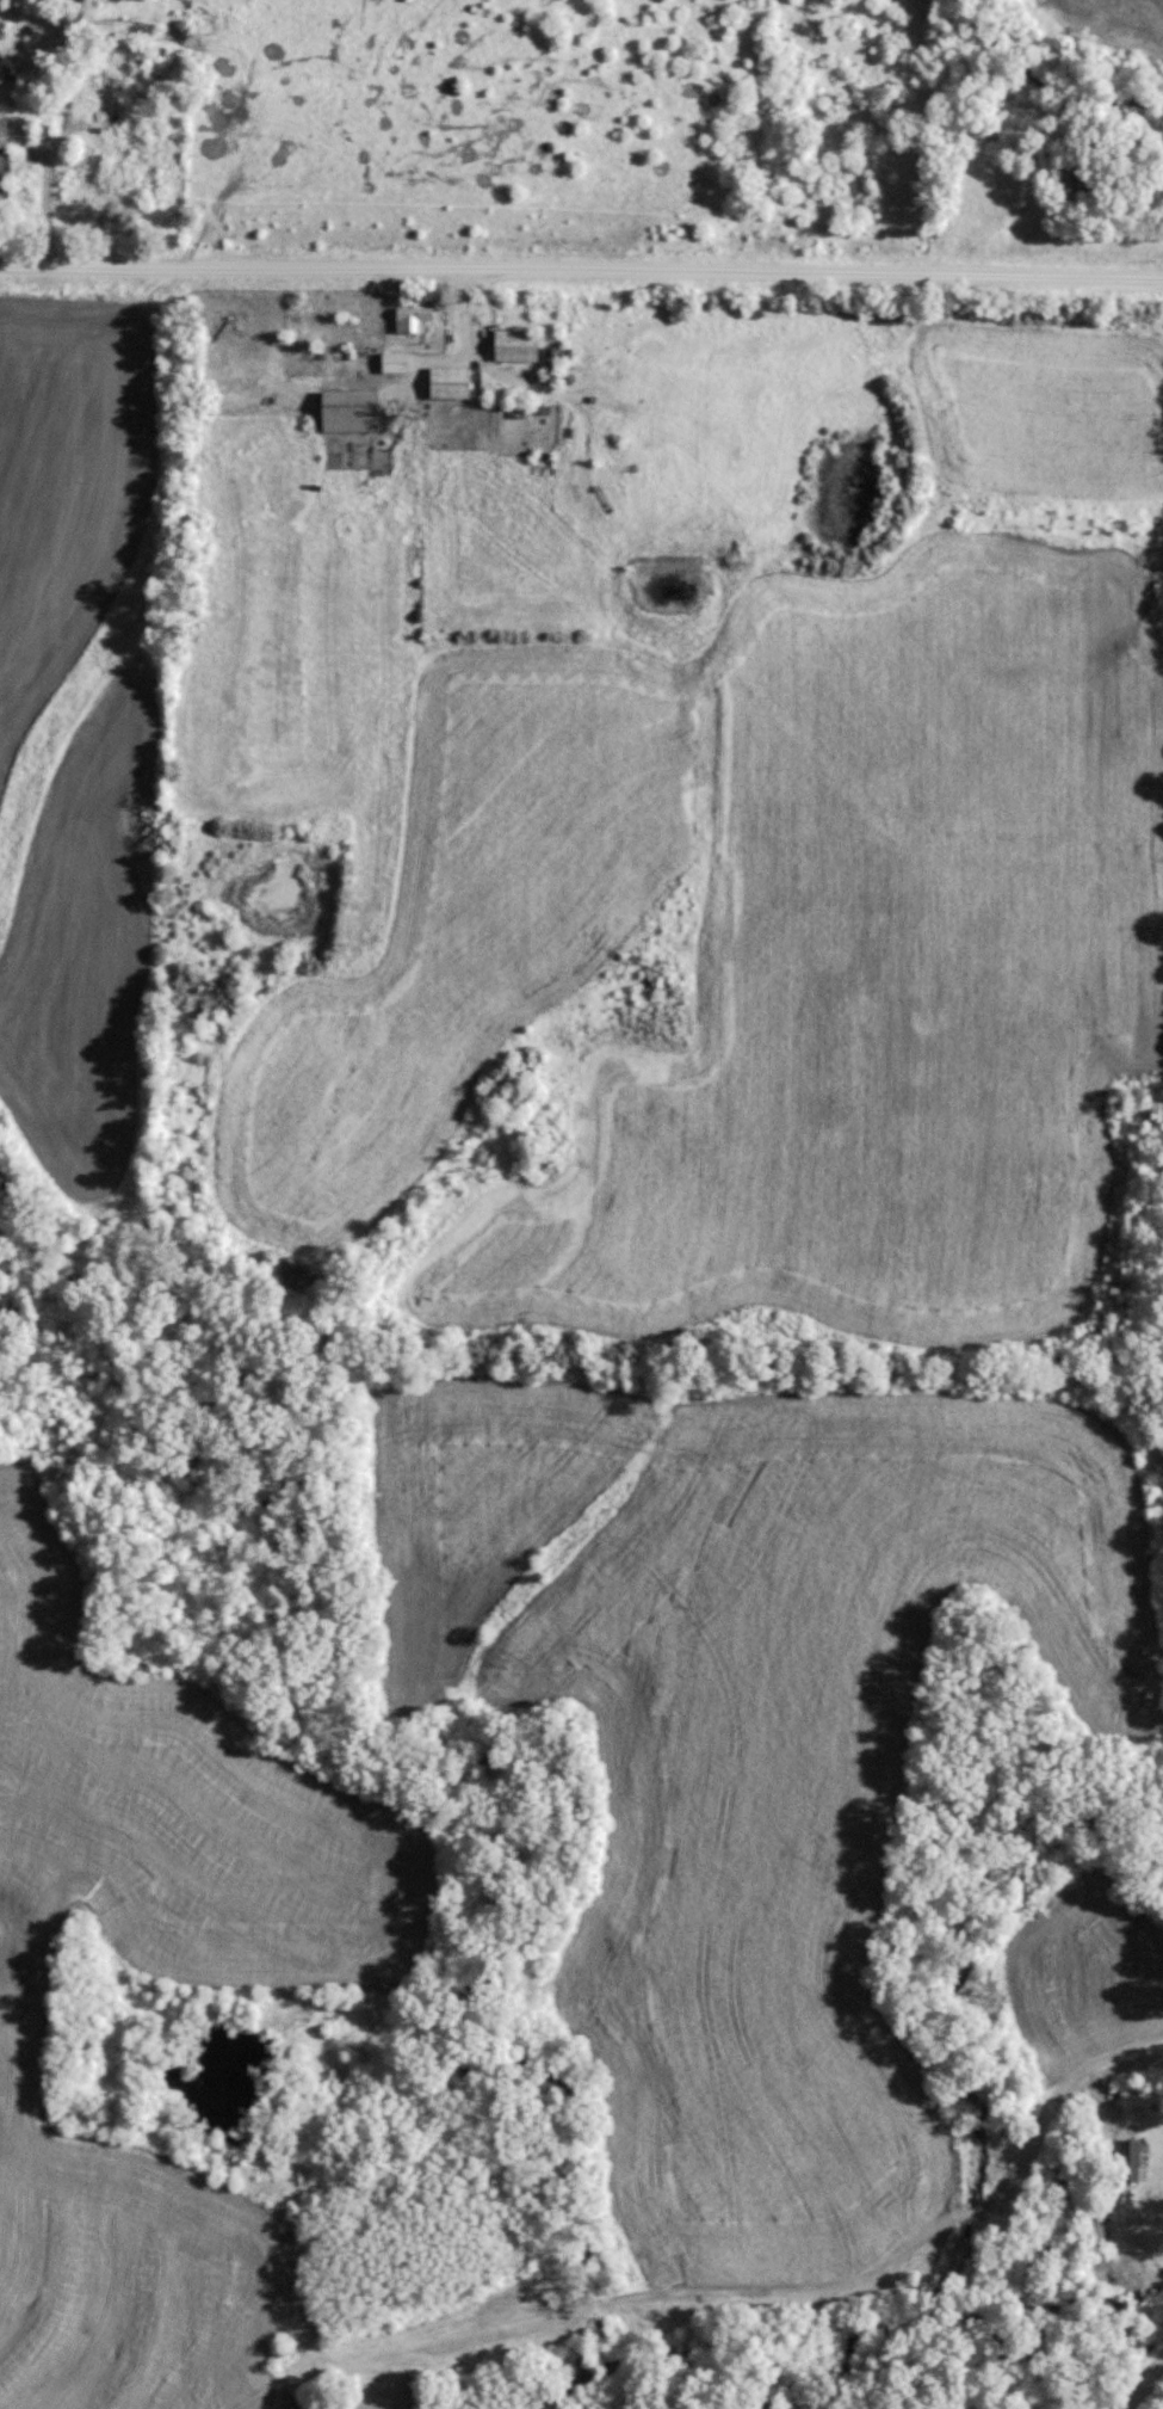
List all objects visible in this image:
building: (4, 130)
building: (122, 180)
road: (581, 270)
building: (412, 316)
building: (515, 344)
building: (394, 361)
building: (450, 381)
building: (349, 409)
building: (1128, 2160)
road: (1125, 2230)
road: (1142, 2380)

